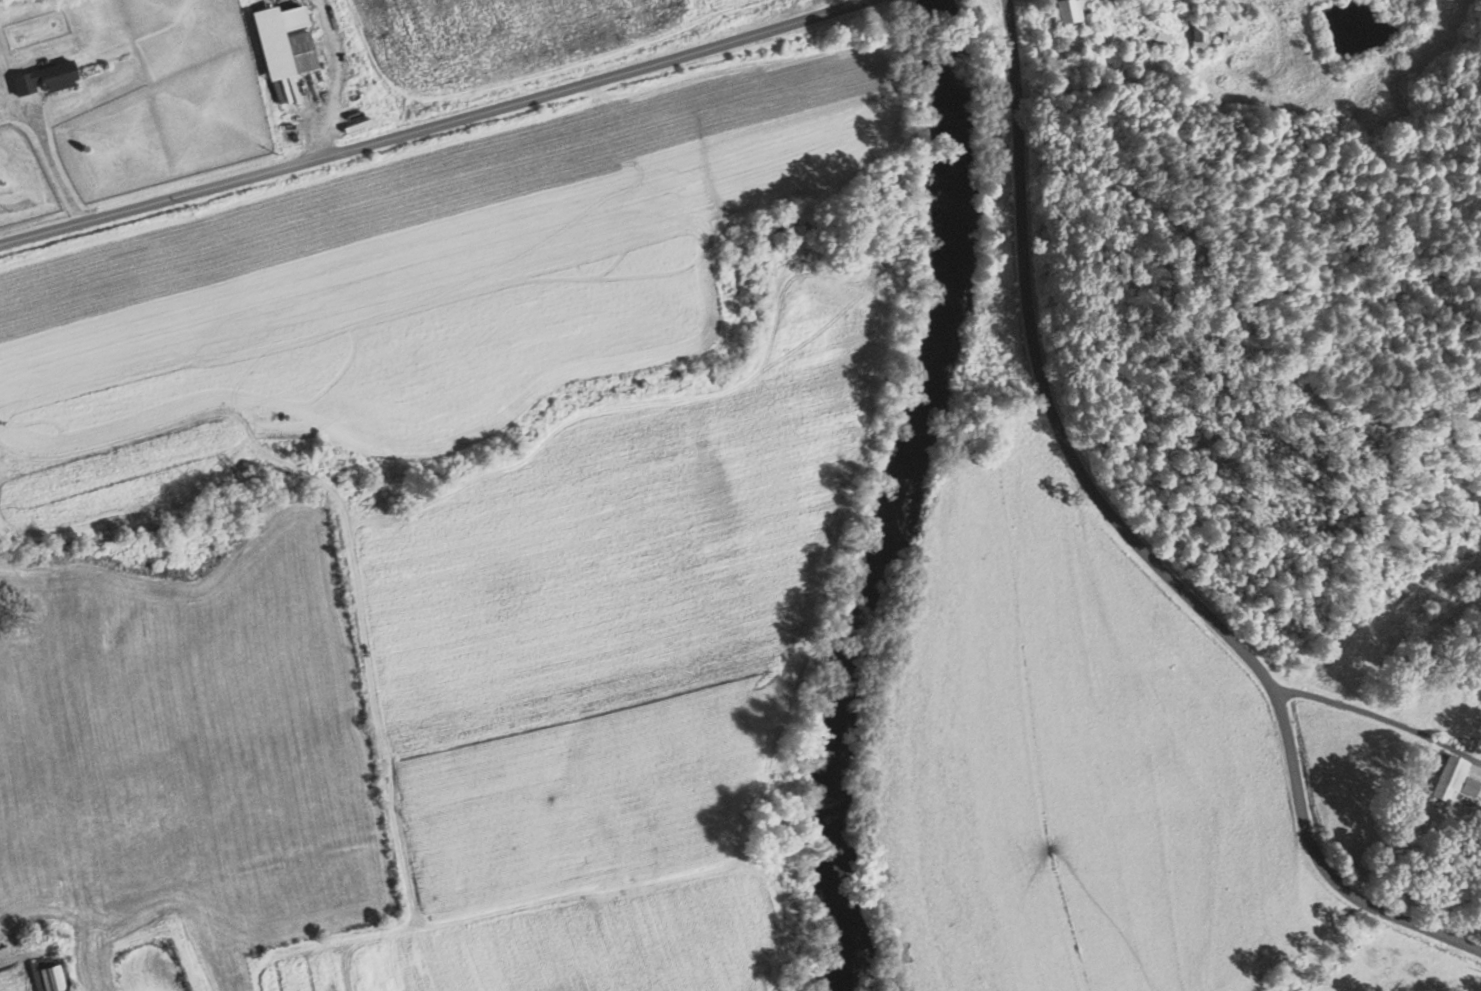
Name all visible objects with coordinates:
building: (1230, 33)
building: (1199, 35)
building: (1163, 37)
building: (285, 41)
building: (47, 77)
river: (961, 117)
road: (427, 125)
road: (1135, 539)
river: (874, 611)
road: (1380, 709)
building: (1448, 780)
building: (49, 975)

